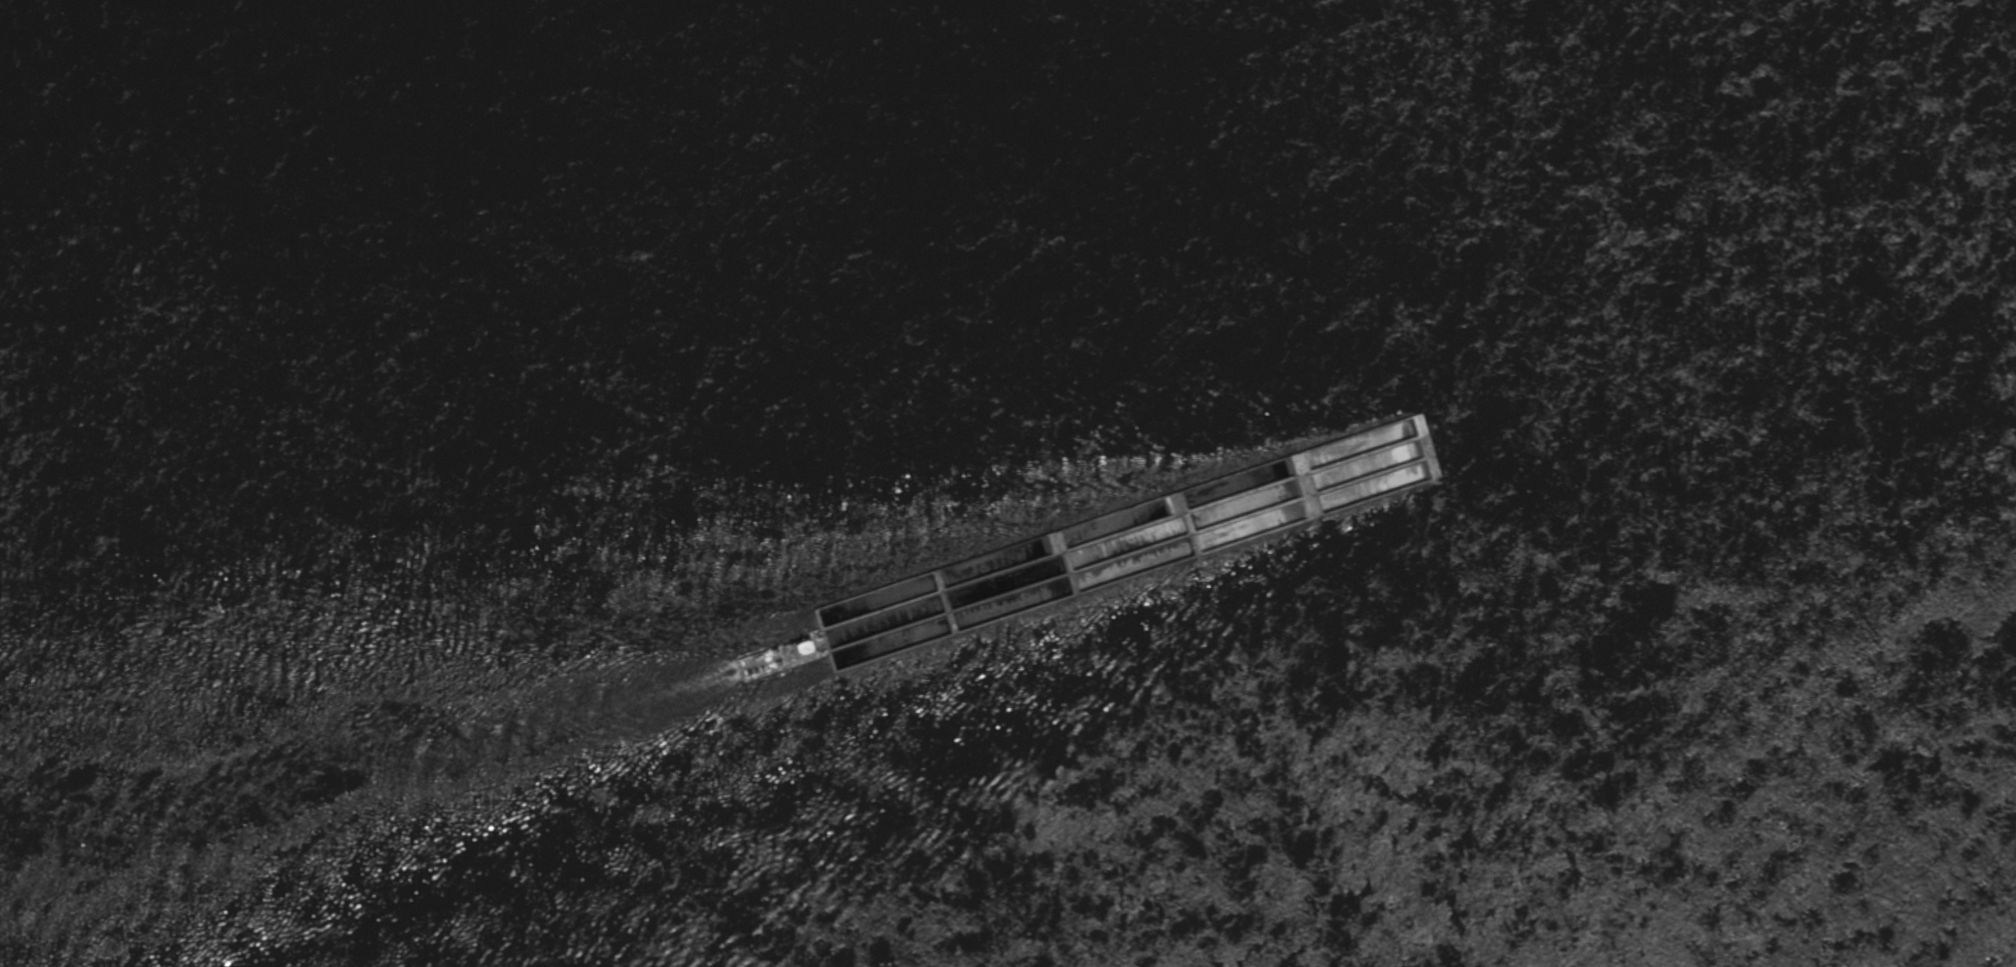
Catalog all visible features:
river: (1828, 902)

